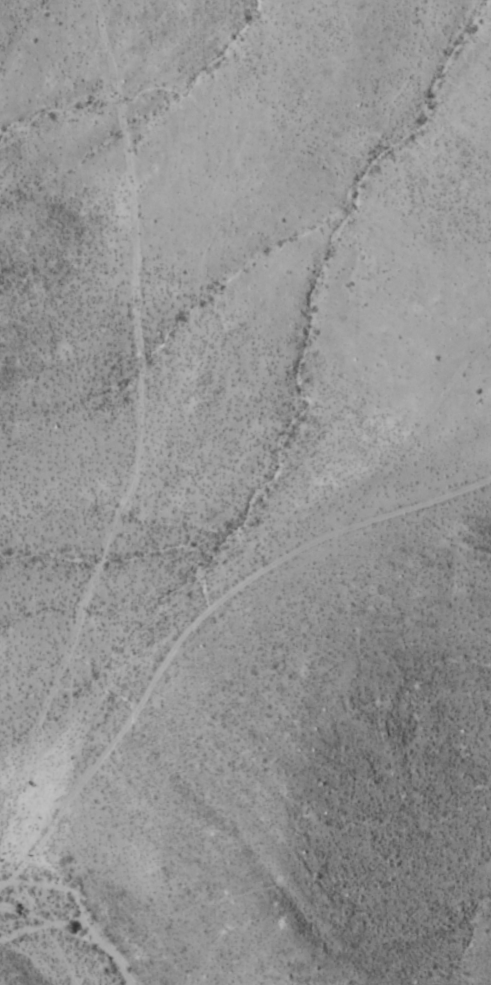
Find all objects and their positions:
road: (138, 372)
road: (236, 586)
road: (35, 847)
road: (10, 863)

